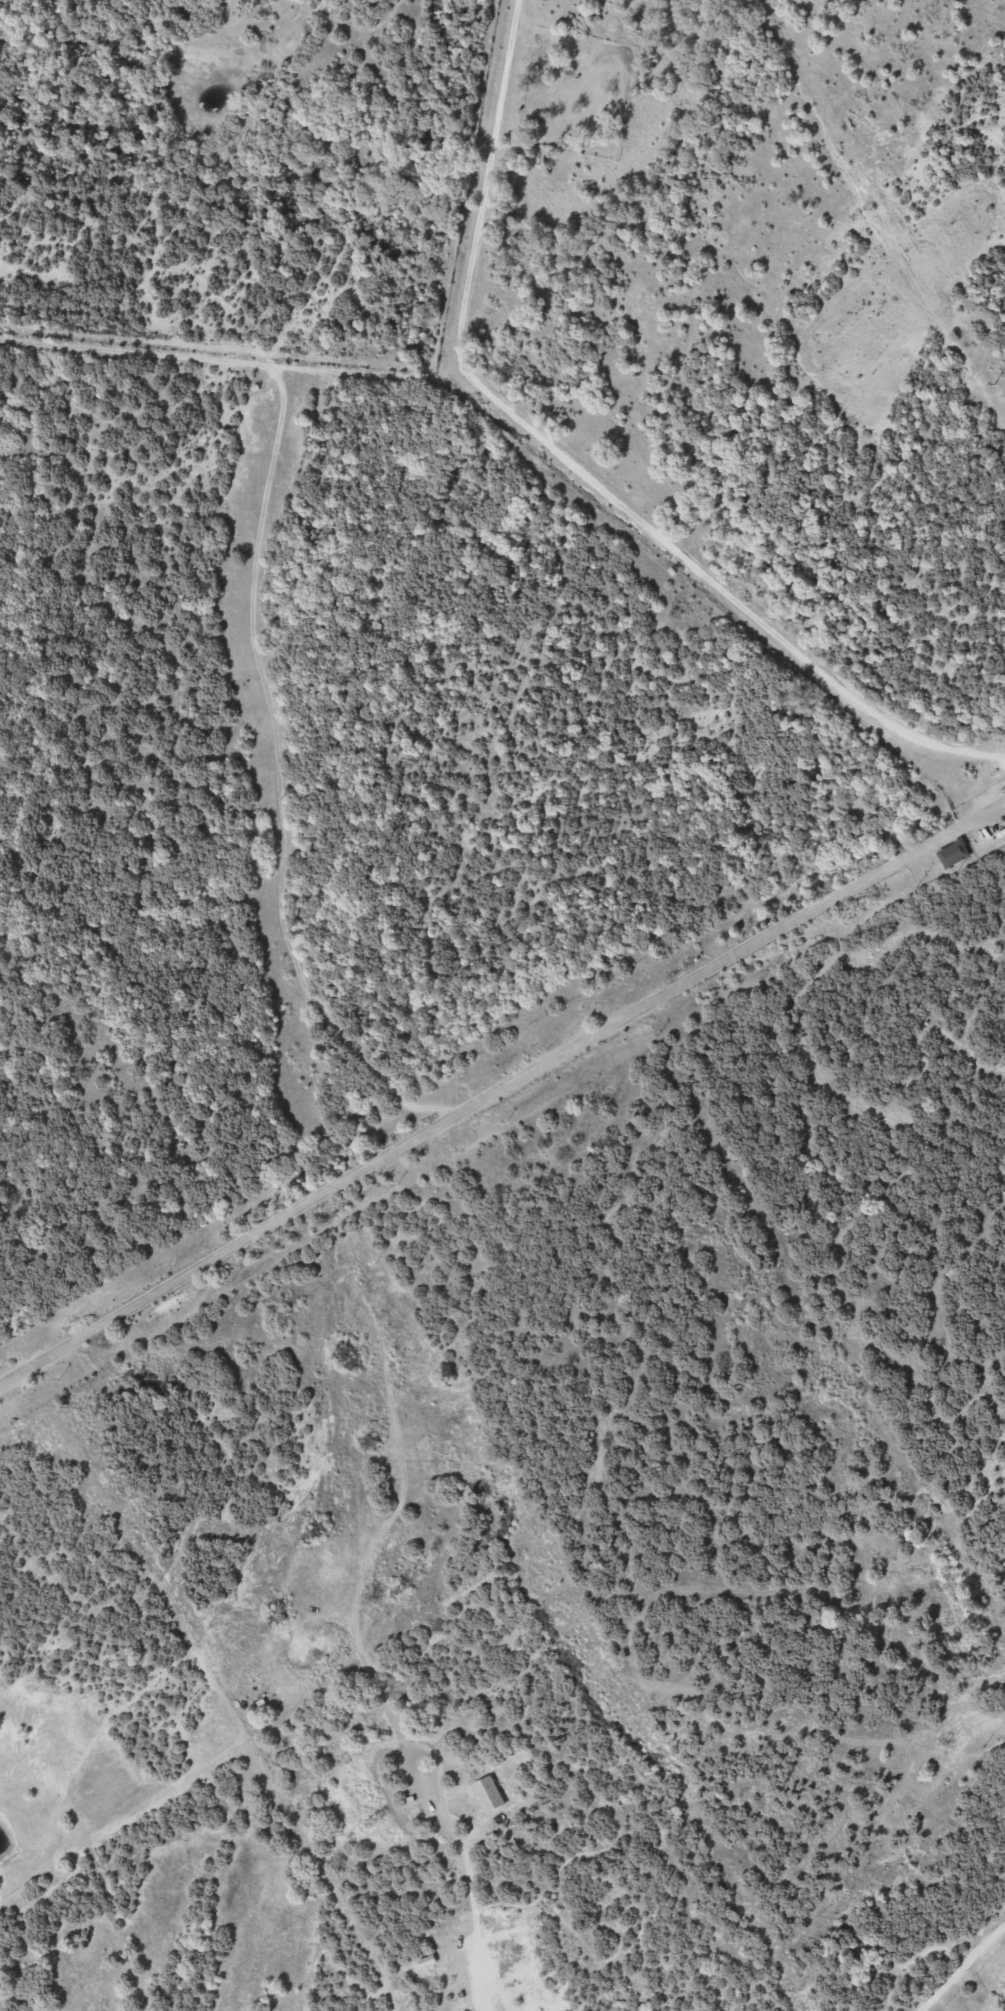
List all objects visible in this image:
power tower: (994, 383)
building: (955, 850)
road: (502, 1086)
building: (962, 1738)
building: (489, 1792)
building: (452, 1958)

